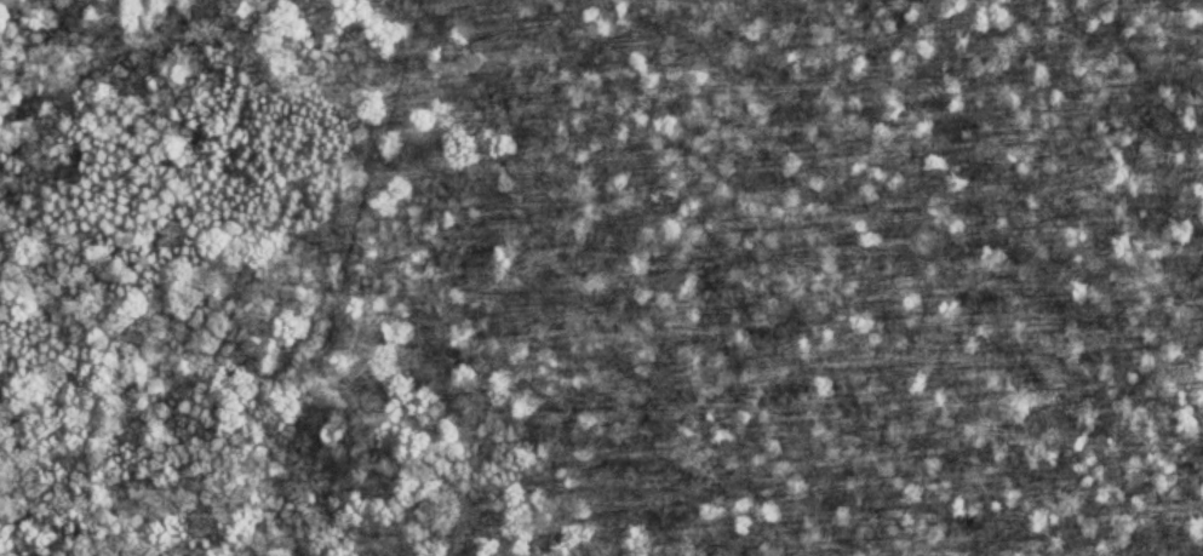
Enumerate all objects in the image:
road: (360, 253)
park: (601, 277)

